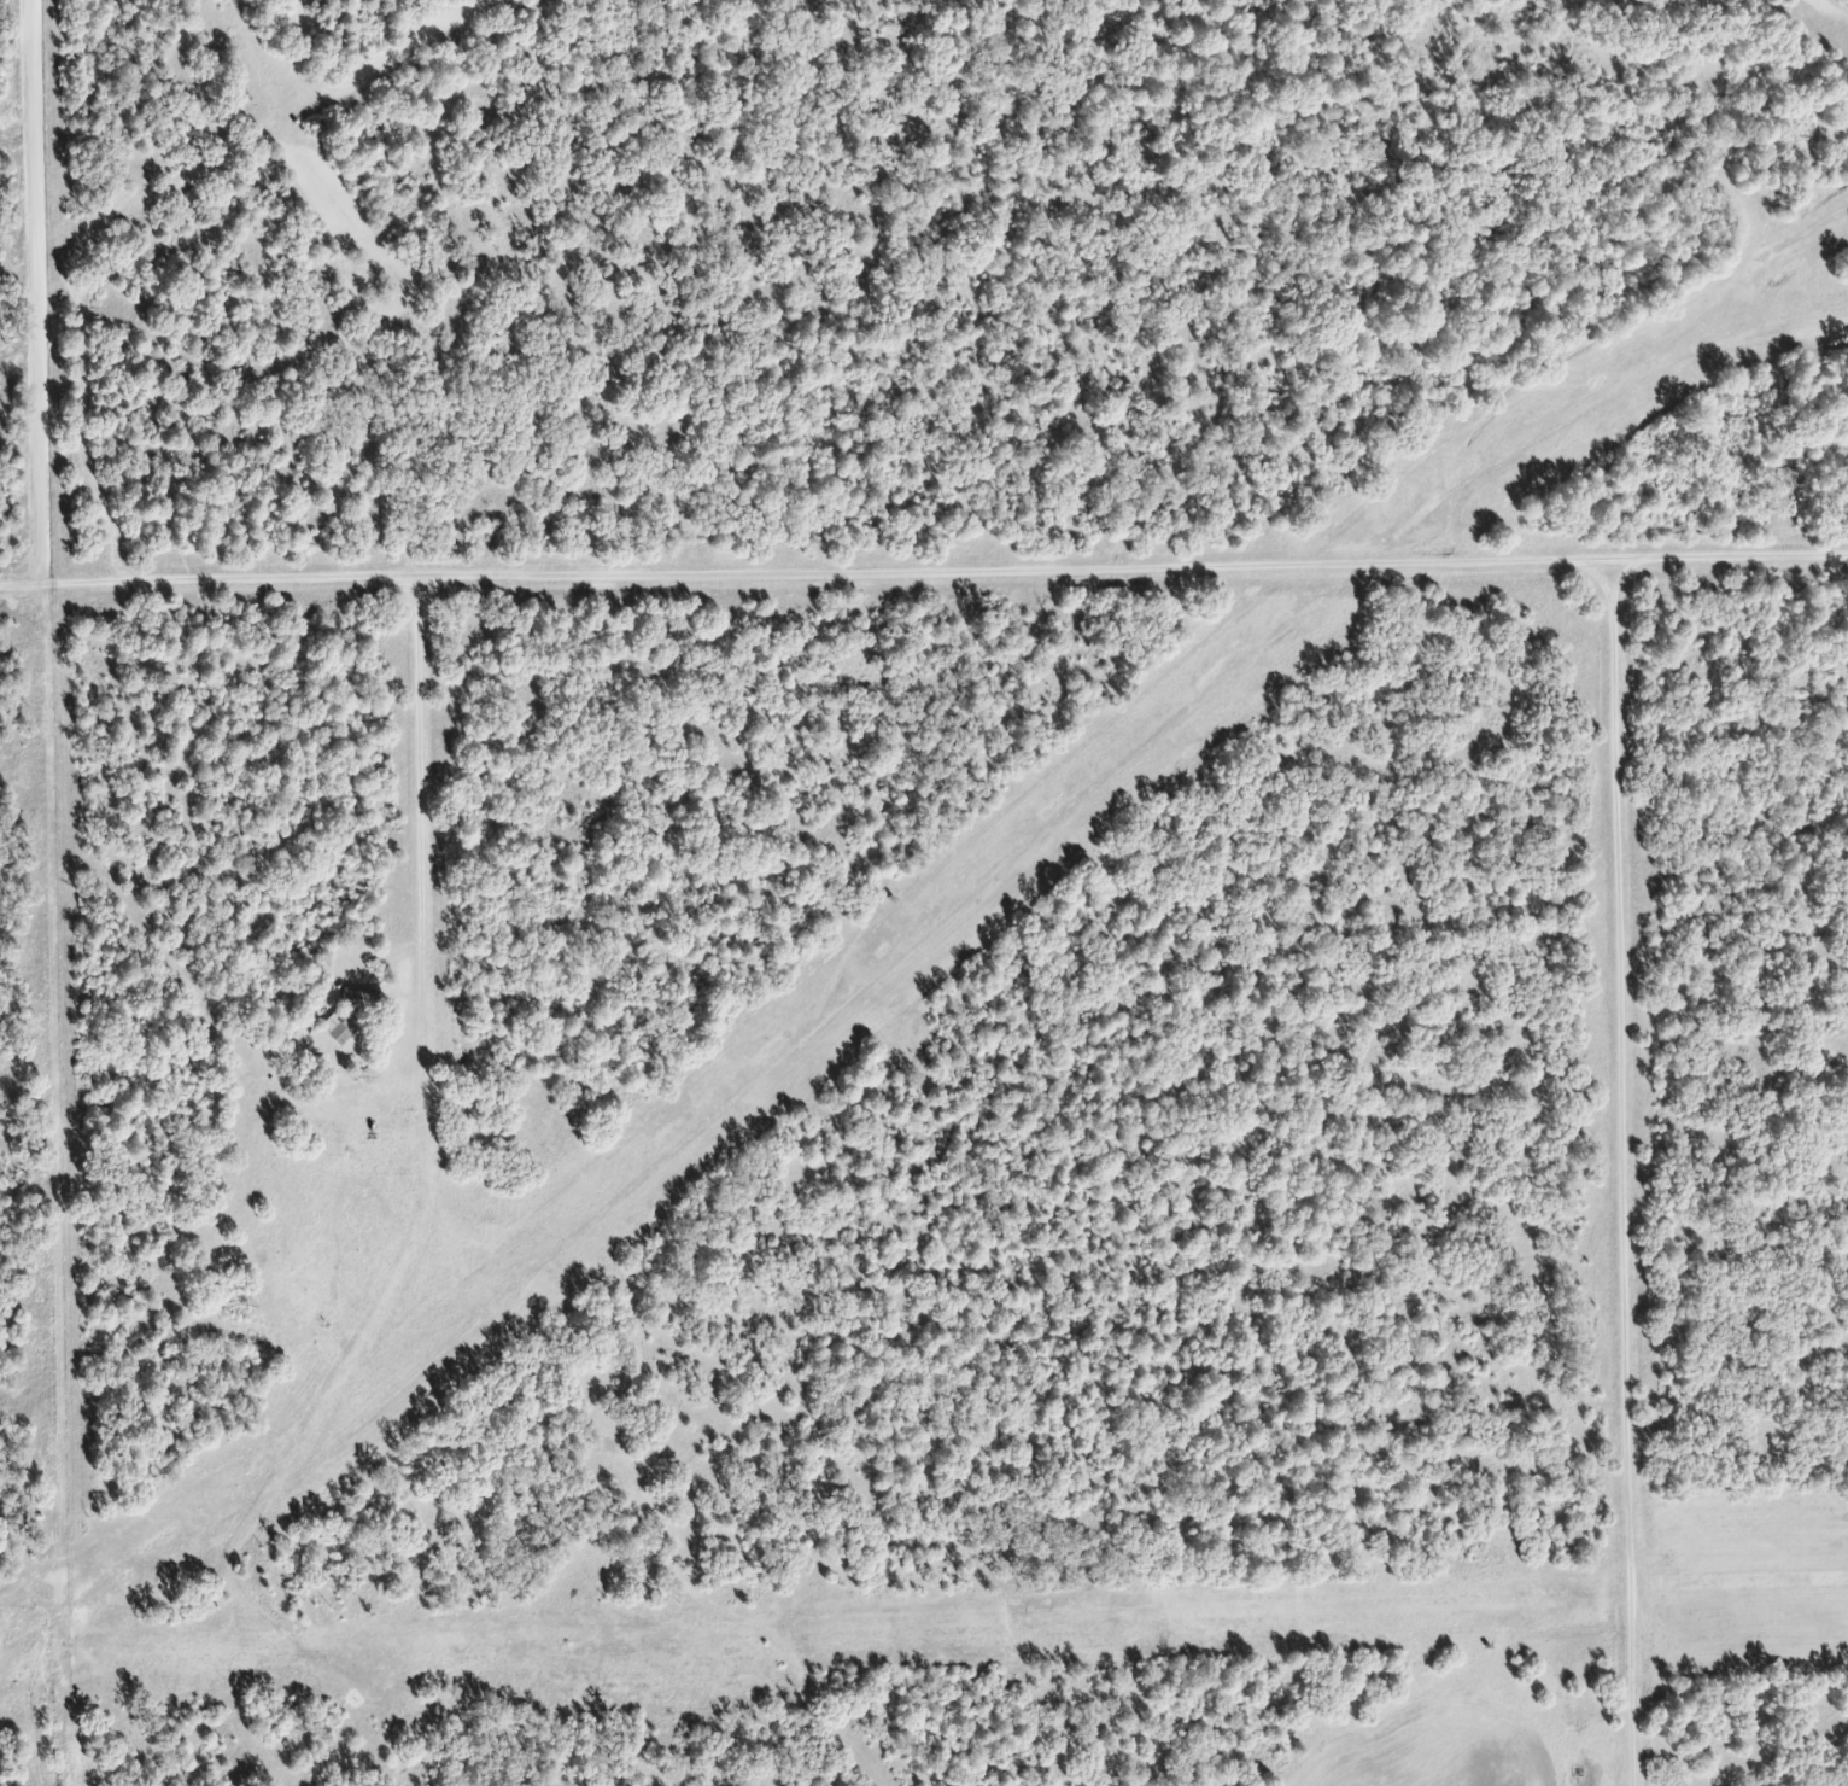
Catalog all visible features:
road: (923, 571)
road: (425, 869)
building: (340, 1026)
building: (318, 1079)
road: (1624, 1173)
road: (1739, 1574)

